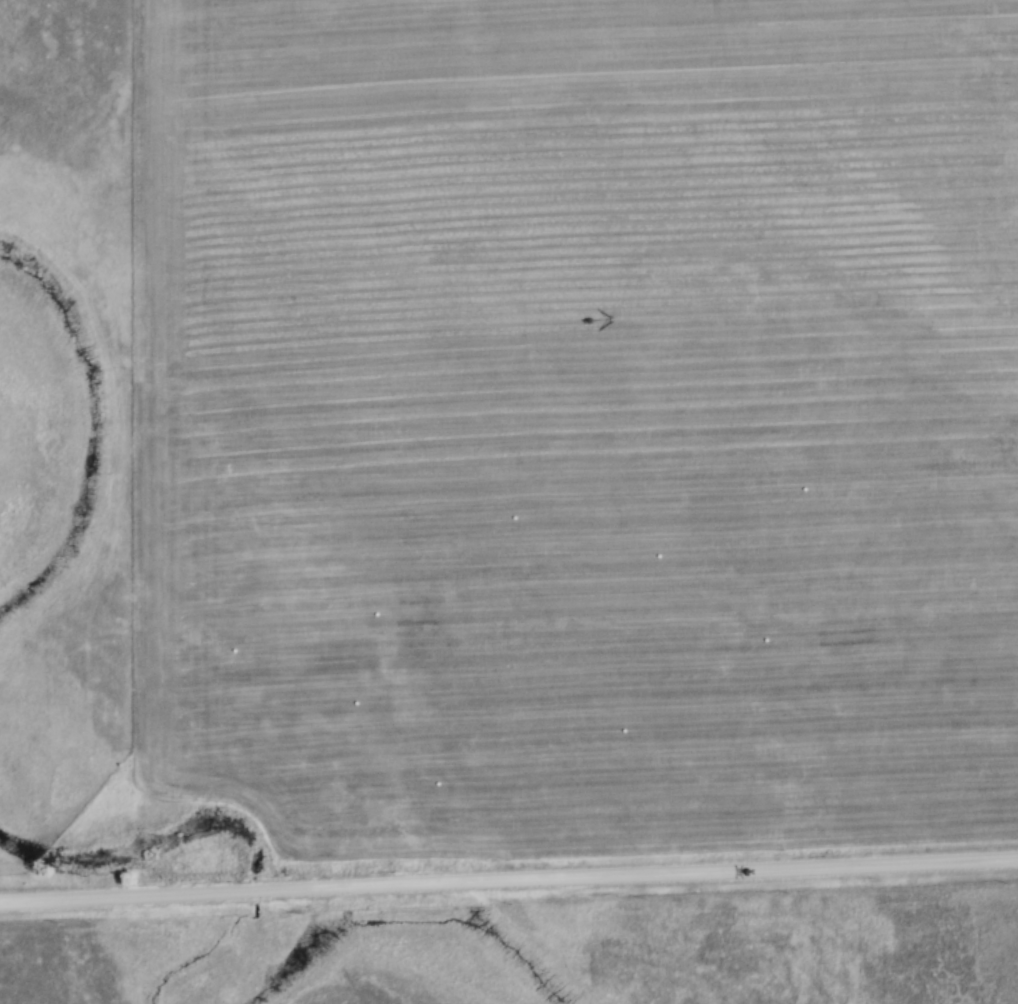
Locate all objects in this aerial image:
road: (508, 879)

